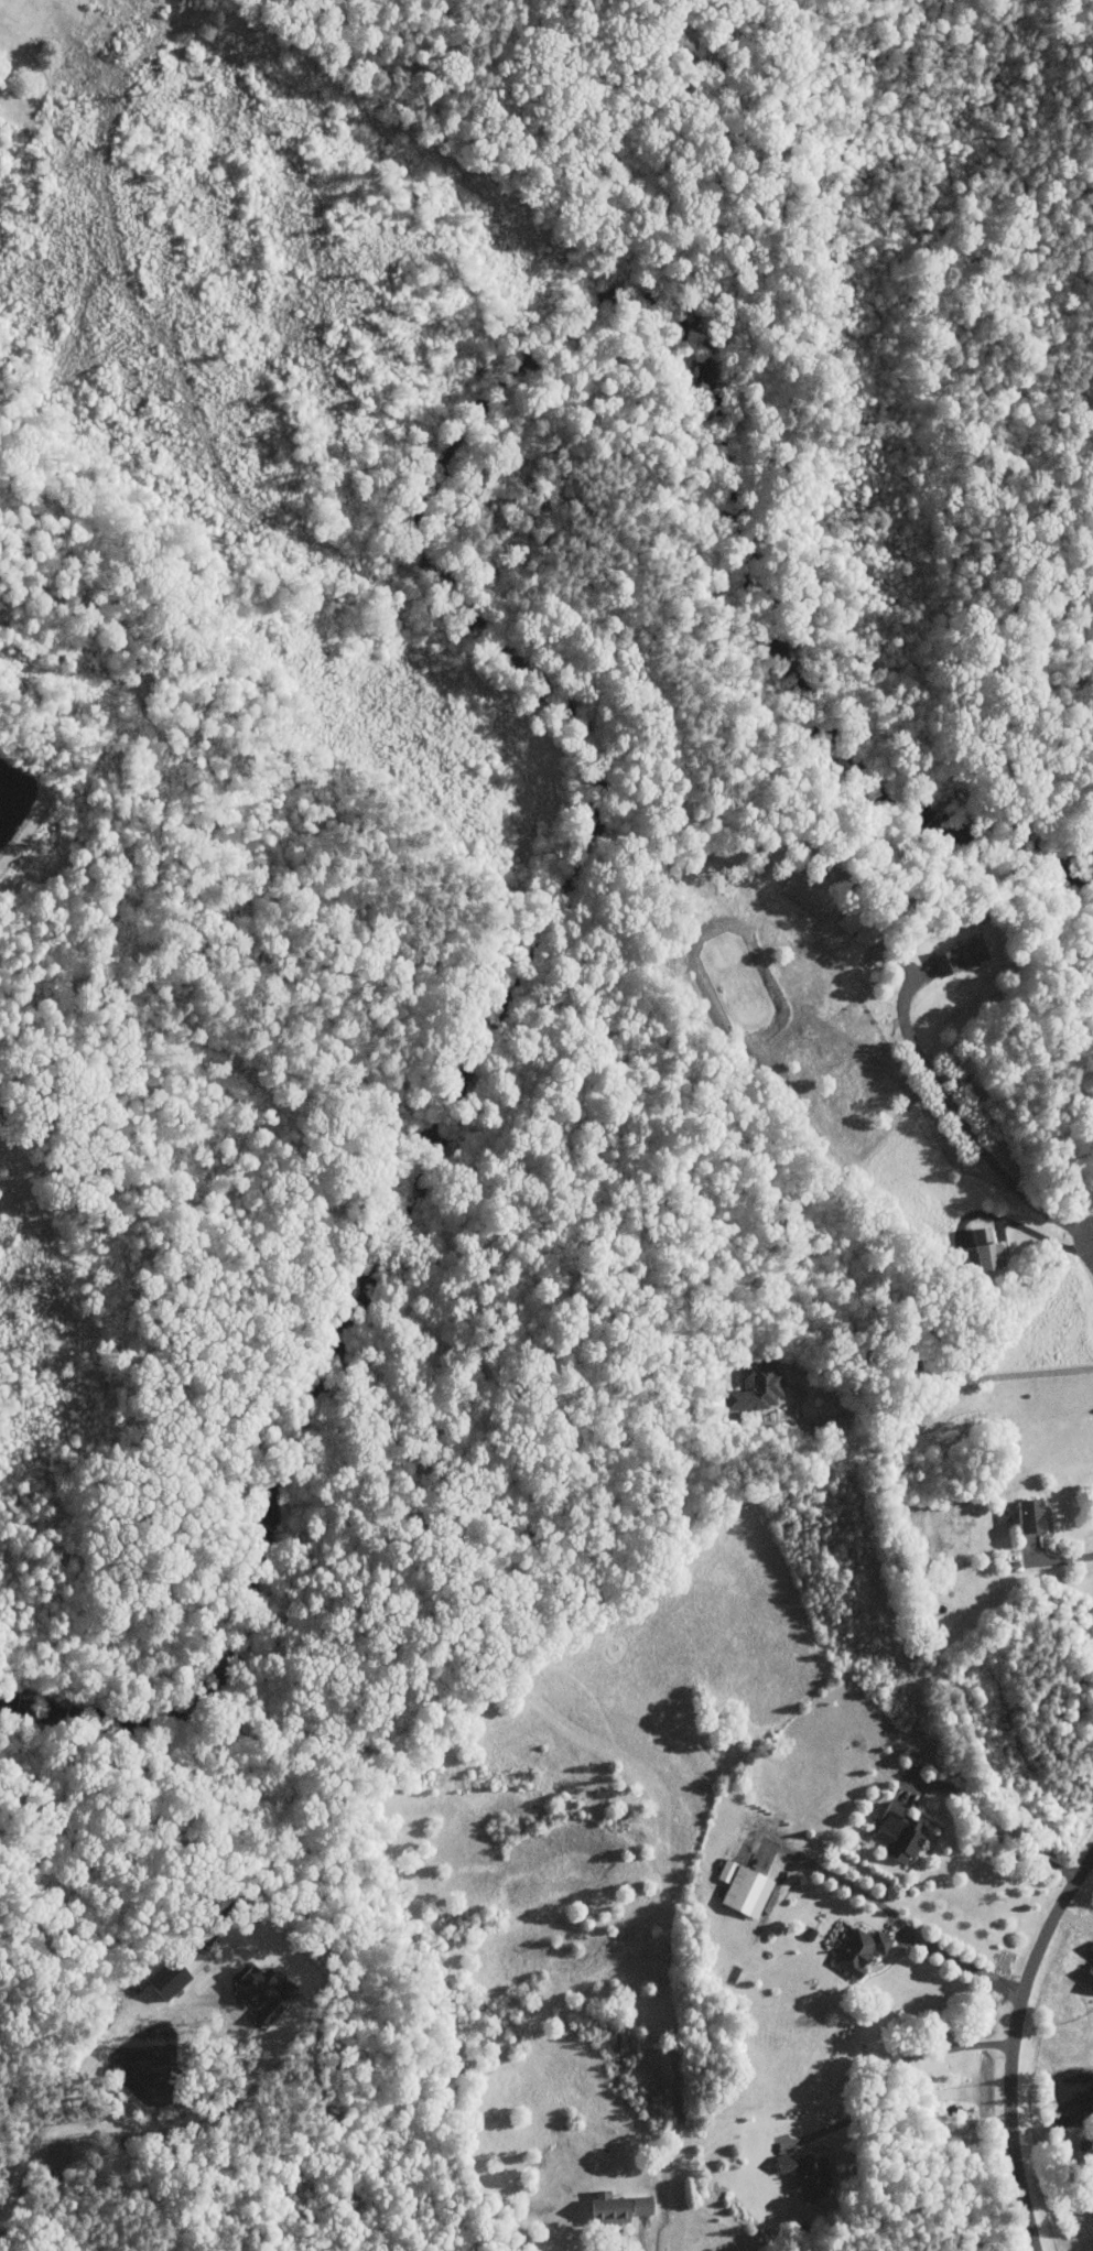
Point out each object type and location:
building: (957, 959)
road: (963, 1123)
road: (1042, 1236)
building: (977, 1249)
road: (912, 1365)
building: (751, 1387)
building: (1020, 1516)
road: (1068, 1558)
building: (892, 1833)
road: (981, 1842)
building: (738, 1890)
road: (900, 1922)
building: (809, 1934)
building: (859, 1951)
building: (1087, 1969)
building: (156, 1980)
road: (1015, 2047)
road: (895, 2065)
road: (77, 2078)
building: (800, 2175)
building: (613, 2208)
road: (645, 2250)

